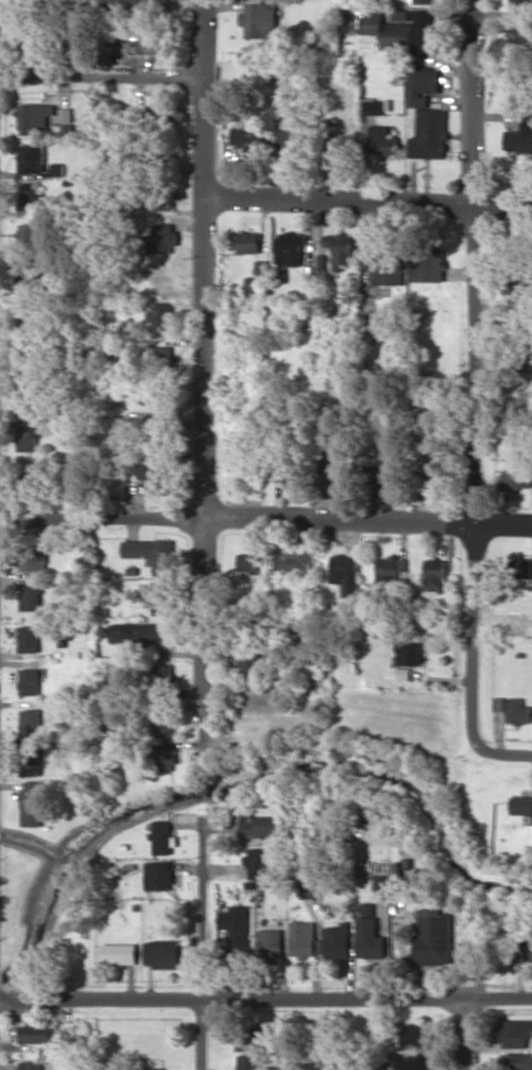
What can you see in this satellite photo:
building: (425, 1)
building: (135, 2)
building: (520, 7)
building: (259, 20)
building: (404, 30)
building: (519, 33)
building: (152, 40)
road: (104, 79)
building: (422, 84)
building: (371, 107)
building: (158, 115)
building: (33, 117)
building: (430, 134)
building: (246, 138)
building: (291, 140)
building: (381, 140)
building: (519, 141)
building: (341, 143)
building: (35, 161)
building: (158, 197)
building: (29, 198)
road: (369, 202)
building: (32, 238)
building: (162, 238)
building: (249, 242)
building: (290, 248)
building: (340, 249)
building: (384, 266)
building: (427, 266)
building: (253, 284)
road: (475, 371)
road: (205, 372)
building: (28, 397)
building: (30, 434)
building: (335, 474)
building: (156, 475)
building: (386, 476)
building: (438, 477)
building: (29, 478)
building: (513, 479)
road: (265, 519)
building: (152, 553)
building: (33, 558)
building: (249, 561)
building: (295, 562)
building: (390, 569)
building: (520, 569)
building: (345, 572)
building: (434, 574)
building: (31, 597)
building: (161, 599)
building: (142, 634)
building: (29, 638)
building: (410, 652)
building: (249, 656)
building: (30, 681)
building: (519, 711)
building: (165, 717)
building: (30, 722)
road: (502, 752)
building: (165, 758)
building: (32, 761)
road: (203, 789)
building: (31, 803)
building: (522, 804)
building: (258, 825)
building: (528, 834)
building: (161, 836)
building: (257, 862)
building: (158, 875)
building: (379, 887)
building: (307, 888)
road: (205, 917)
building: (235, 926)
building: (368, 932)
building: (433, 937)
building: (302, 939)
building: (335, 941)
building: (269, 943)
building: (510, 948)
building: (531, 950)
building: (118, 953)
building: (160, 953)
road: (369, 1001)
road: (104, 1002)
building: (515, 1033)
building: (35, 1034)
road: (207, 1035)
road: (465, 1035)
building: (414, 1036)
building: (246, 1040)
building: (411, 1061)
building: (515, 1061)
building: (247, 1062)
building: (32, 1064)
building: (151, 1069)

